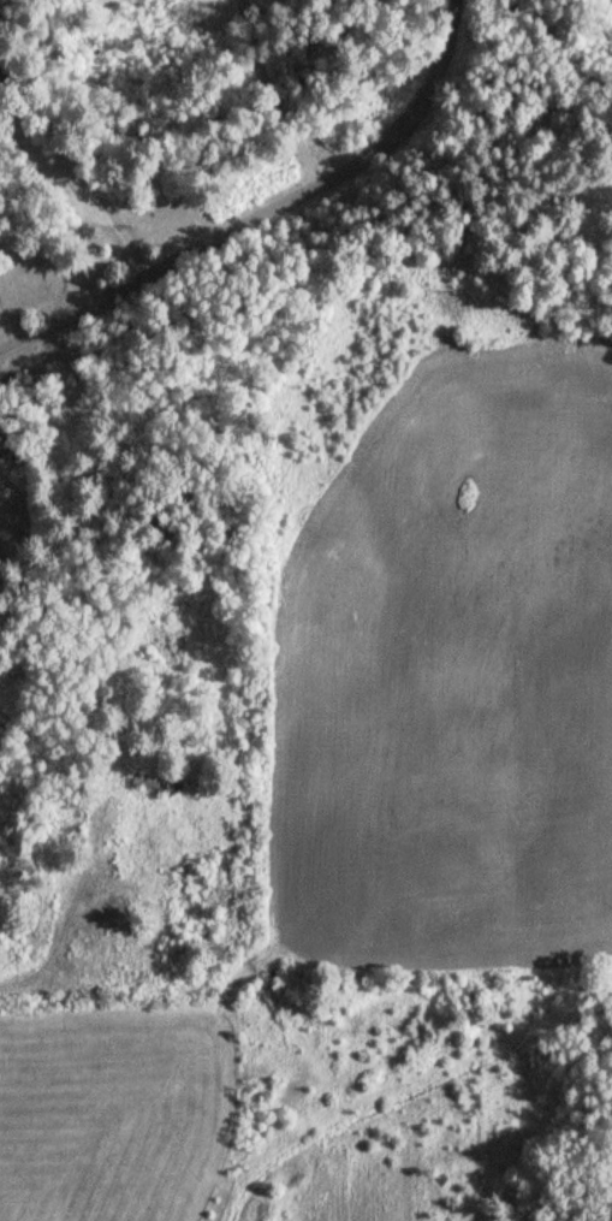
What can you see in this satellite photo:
road: (254, 207)
building: (5, 736)
building: (7, 838)

